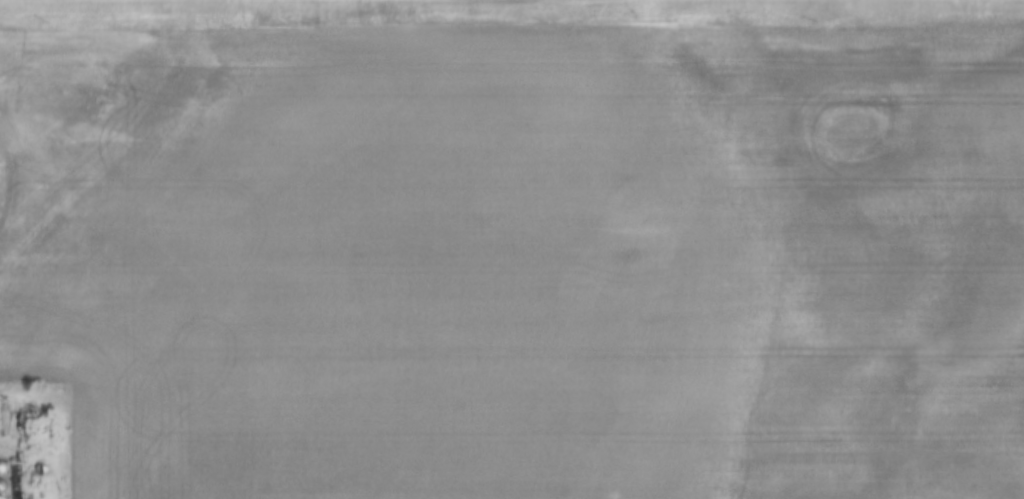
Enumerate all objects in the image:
building: (5, 463)
silo: (5, 463)
building: (5, 481)
silo: (5, 481)
building: (4, 496)
silo: (4, 496)

